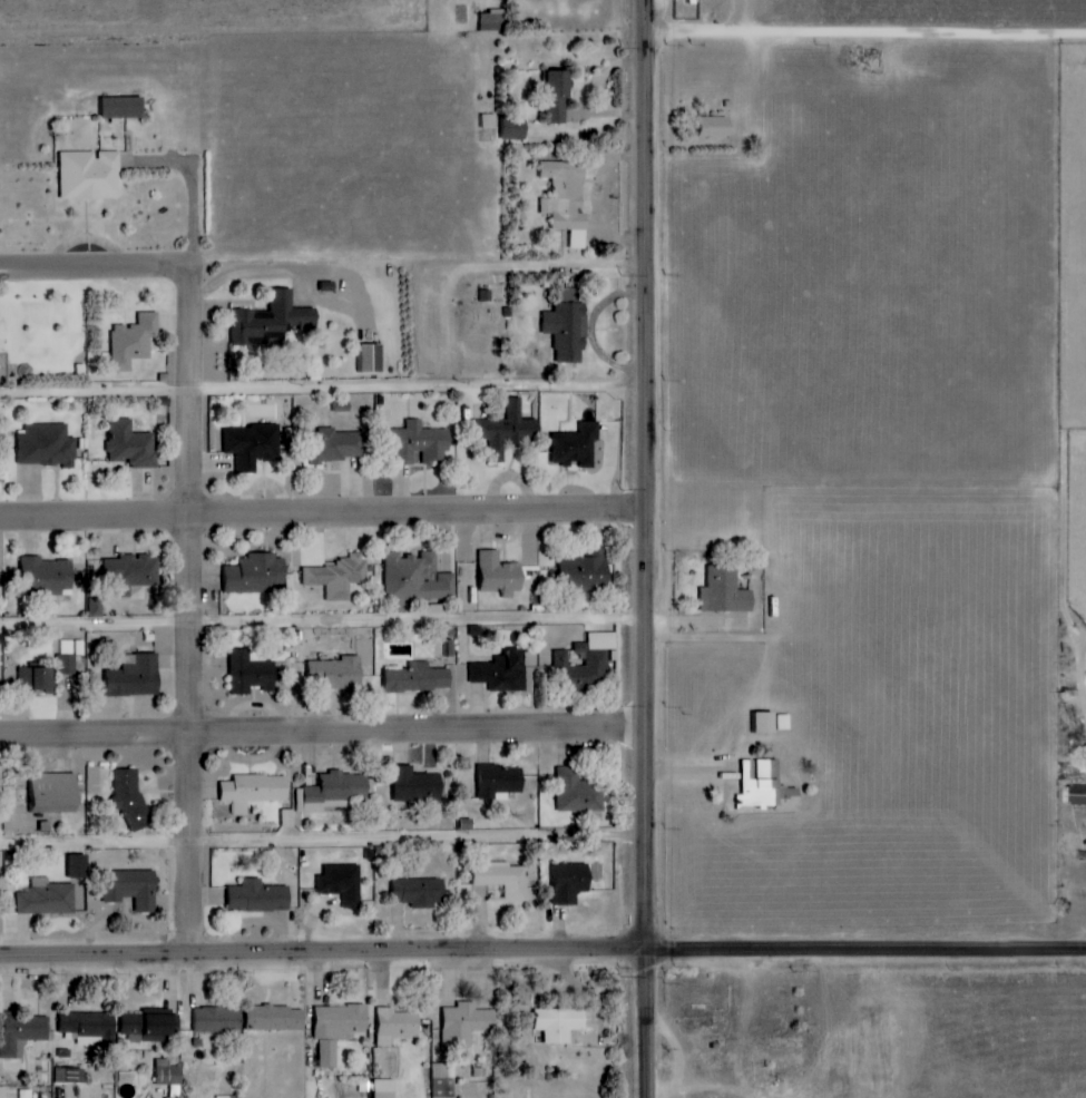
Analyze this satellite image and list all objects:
building: (488, 22)
road: (865, 30)
power tower: (622, 48)
building: (549, 97)
building: (124, 107)
building: (486, 121)
building: (705, 127)
building: (508, 128)
building: (90, 175)
building: (561, 199)
road: (101, 268)
power tower: (620, 274)
road: (200, 310)
building: (272, 318)
building: (561, 326)
building: (134, 341)
building: (372, 357)
road: (322, 392)
building: (508, 430)
building: (419, 443)
building: (46, 444)
building: (130, 444)
building: (253, 444)
building: (335, 444)
building: (577, 445)
road: (646, 474)
power tower: (619, 489)
road: (322, 513)
building: (586, 572)
building: (130, 573)
building: (257, 573)
building: (499, 573)
building: (47, 576)
building: (339, 576)
building: (415, 578)
building: (726, 591)
building: (96, 607)
road: (322, 622)
building: (585, 659)
building: (66, 665)
building: (252, 671)
building: (502, 671)
building: (340, 673)
building: (136, 676)
building: (419, 678)
building: (37, 680)
power tower: (620, 708)
building: (764, 722)
road: (321, 729)
road: (198, 736)
building: (501, 781)
building: (418, 785)
building: (765, 786)
building: (254, 790)
building: (332, 791)
building: (576, 791)
building: (57, 793)
building: (1076, 795)
building: (286, 817)
road: (322, 842)
building: (78, 866)
building: (505, 879)
building: (573, 882)
building: (343, 883)
building: (133, 889)
building: (420, 892)
building: (260, 896)
building: (46, 898)
road: (865, 950)
road: (322, 954)
power tower: (619, 967)
building: (276, 1019)
building: (218, 1020)
building: (560, 1023)
road: (645, 1023)
building: (397, 1026)
building: (466, 1026)
building: (89, 1027)
building: (149, 1028)
building: (337, 1029)
building: (22, 1033)
building: (69, 1076)
building: (169, 1076)
building: (443, 1080)
building: (385, 1088)
building: (3, 1092)
building: (226, 1097)

